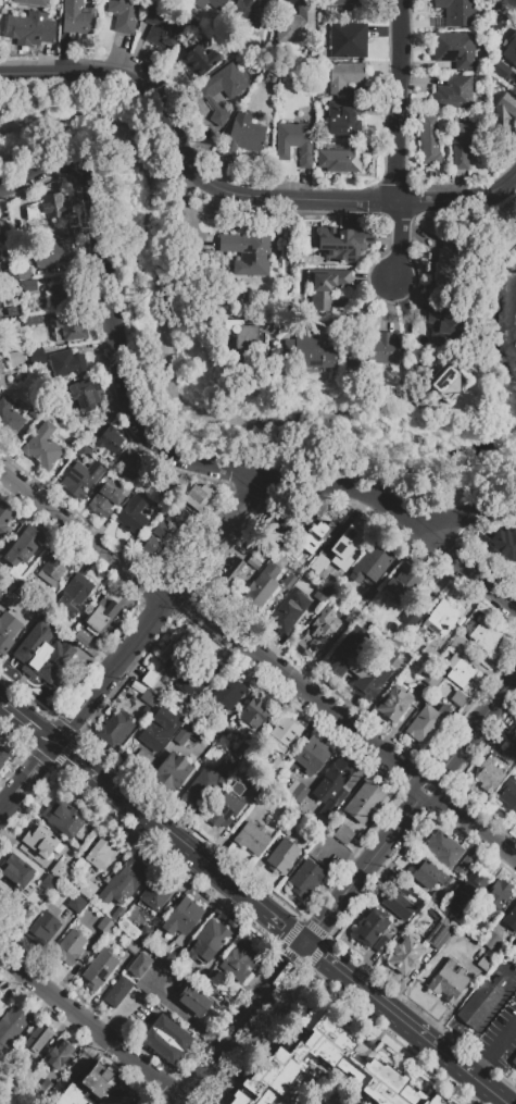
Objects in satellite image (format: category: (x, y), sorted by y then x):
building: (30, 2)
building: (210, 3)
building: (336, 3)
building: (455, 12)
building: (123, 15)
building: (246, 15)
building: (77, 17)
building: (297, 23)
building: (499, 23)
building: (161, 28)
building: (29, 29)
building: (348, 39)
building: (454, 49)
building: (197, 58)
building: (513, 60)
building: (501, 72)
building: (344, 76)
building: (223, 89)
building: (452, 92)
road: (398, 101)
building: (504, 112)
building: (344, 116)
building: (244, 134)
building: (428, 139)
building: (294, 141)
building: (463, 144)
building: (341, 159)
road: (231, 196)
building: (47, 208)
building: (3, 226)
building: (330, 239)
road: (399, 240)
building: (356, 241)
building: (247, 252)
building: (56, 255)
building: (449, 266)
building: (27, 285)
building: (324, 286)
building: (59, 294)
building: (1, 299)
building: (340, 301)
building: (16, 311)
building: (32, 319)
building: (442, 322)
building: (71, 327)
building: (243, 334)
building: (370, 351)
building: (306, 352)
building: (36, 356)
building: (14, 359)
building: (66, 363)
building: (1, 375)
building: (442, 380)
building: (85, 395)
building: (36, 409)
building: (9, 420)
building: (106, 441)
road: (156, 444)
building: (42, 447)
building: (130, 462)
building: (81, 479)
building: (169, 487)
building: (197, 495)
building: (104, 500)
building: (133, 516)
building: (176, 516)
building: (4, 519)
building: (278, 525)
building: (161, 530)
road: (83, 537)
building: (316, 537)
building: (505, 542)
building: (22, 546)
building: (151, 547)
building: (336, 555)
road: (452, 557)
building: (372, 563)
building: (53, 567)
building: (237, 570)
building: (289, 582)
building: (12, 585)
road: (179, 585)
building: (400, 585)
building: (264, 586)
building: (27, 593)
building: (3, 594)
building: (73, 594)
building: (323, 594)
building: (368, 595)
building: (14, 603)
building: (102, 608)
building: (289, 613)
building: (351, 616)
building: (411, 618)
building: (441, 618)
building: (89, 620)
building: (8, 630)
building: (317, 632)
building: (484, 635)
building: (83, 638)
building: (458, 643)
building: (176, 649)
building: (60, 654)
building: (428, 654)
building: (37, 655)
building: (356, 663)
building: (204, 665)
building: (461, 673)
building: (150, 679)
building: (430, 679)
building: (189, 684)
road: (300, 690)
building: (228, 691)
building: (149, 698)
building: (458, 699)
building: (394, 703)
building: (194, 707)
building: (254, 712)
road: (78, 715)
road: (32, 717)
road: (7, 718)
building: (426, 722)
building: (515, 722)
building: (115, 727)
building: (160, 727)
road: (38, 731)
road: (470, 733)
building: (188, 734)
building: (284, 735)
building: (513, 735)
road: (35, 740)
building: (244, 747)
road: (74, 752)
building: (312, 754)
building: (508, 754)
building: (3, 755)
road: (70, 757)
building: (228, 766)
road: (38, 767)
building: (277, 768)
road: (74, 770)
building: (171, 771)
road: (97, 772)
building: (488, 776)
building: (197, 784)
building: (332, 786)
building: (254, 791)
building: (297, 791)
building: (207, 793)
building: (508, 794)
road: (13, 798)
building: (364, 801)
building: (225, 808)
building: (63, 819)
road: (470, 821)
building: (293, 822)
building: (251, 836)
building: (343, 836)
building: (39, 840)
road: (213, 846)
building: (443, 848)
road: (221, 851)
building: (102, 852)
building: (284, 855)
road: (343, 855)
road: (204, 864)
road: (365, 865)
building: (463, 865)
building: (16, 870)
building: (60, 870)
building: (428, 873)
building: (305, 879)
building: (123, 880)
road: (187, 880)
building: (49, 884)
building: (87, 889)
building: (402, 889)
building: (469, 890)
building: (155, 893)
building: (4, 896)
building: (435, 898)
building: (495, 898)
building: (76, 903)
building: (398, 904)
road: (209, 908)
building: (511, 916)
building: (181, 917)
building: (104, 926)
building: (369, 928)
building: (43, 930)
building: (440, 931)
building: (143, 933)
building: (491, 940)
building: (514, 940)
building: (209, 941)
building: (134, 946)
traffic signals: (307, 946)
building: (70, 947)
building: (404, 954)
building: (239, 960)
building: (483, 963)
building: (139, 966)
road: (364, 967)
building: (100, 969)
road: (508, 973)
building: (201, 977)
road: (65, 980)
building: (449, 980)
road: (13, 982)
road: (278, 983)
building: (209, 989)
building: (0, 990)
building: (116, 991)
building: (191, 998)
road: (93, 1002)
building: (480, 1002)
building: (2, 1006)
road: (454, 1006)
road: (236, 1009)
road: (122, 1012)
road: (185, 1016)
building: (14, 1020)
road: (486, 1021)
road: (93, 1022)
road: (407, 1025)
building: (37, 1039)
building: (165, 1039)
building: (1, 1040)
parking lot: (501, 1040)
road: (503, 1042)
building: (59, 1051)
road: (89, 1052)
road: (218, 1058)
building: (355, 1062)
building: (514, 1063)
road: (482, 1067)
building: (272, 1076)
building: (97, 1089)
building: (3, 1095)
road: (186, 1101)

